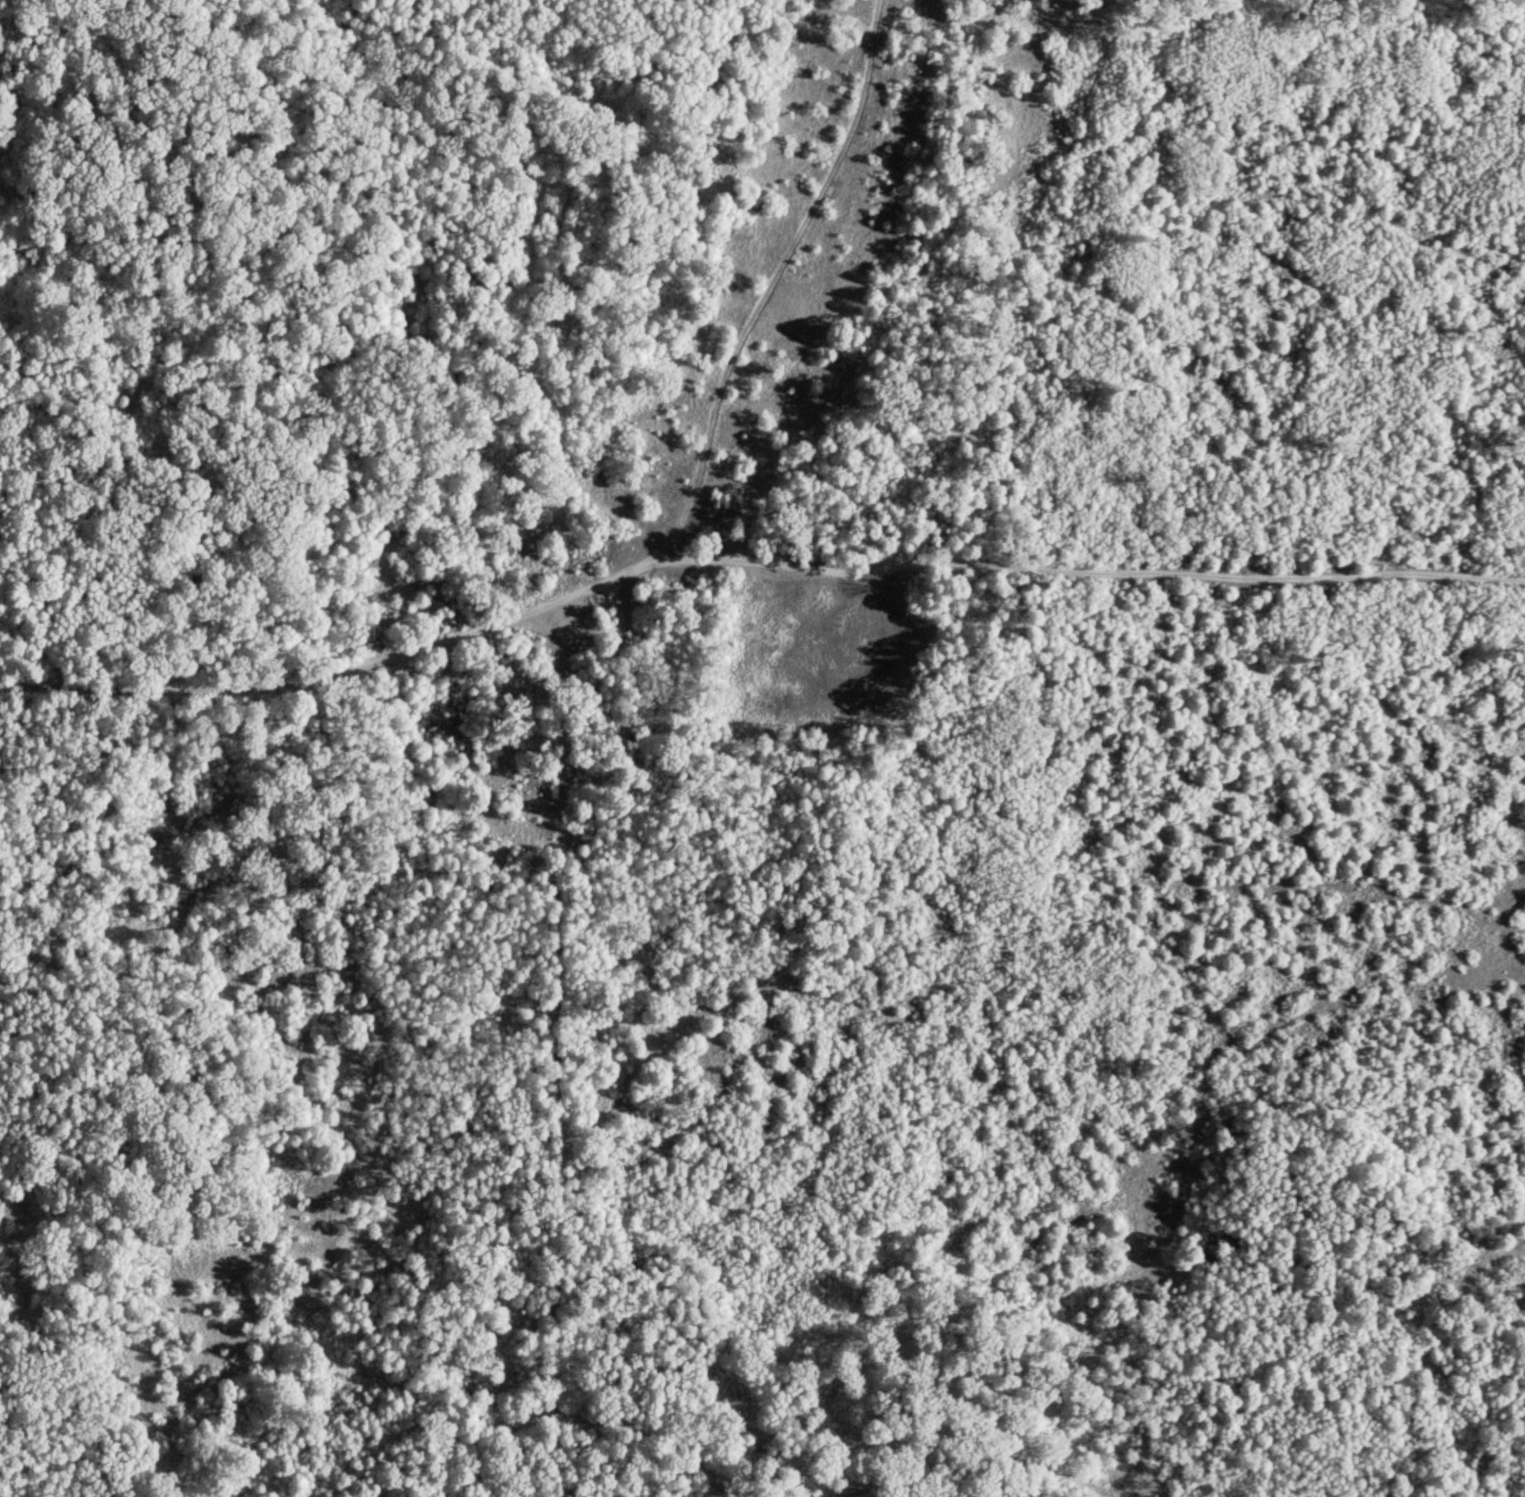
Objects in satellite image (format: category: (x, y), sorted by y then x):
road: (776, 277)
road: (751, 563)
road: (561, 1051)

